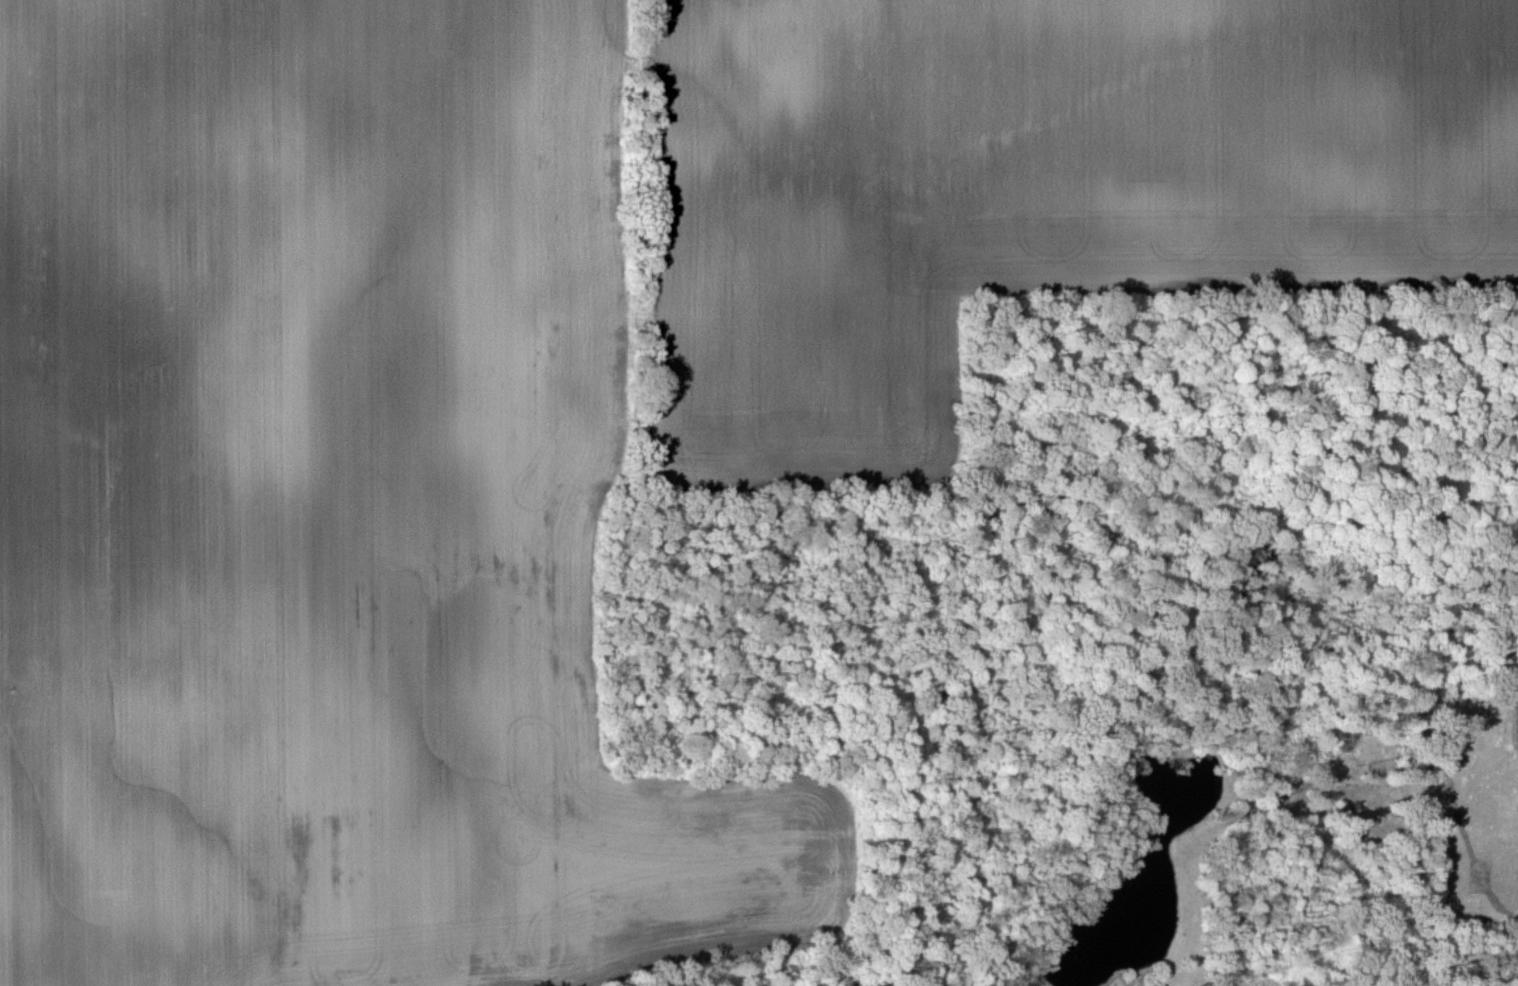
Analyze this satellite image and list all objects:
building: (1516, 724)

